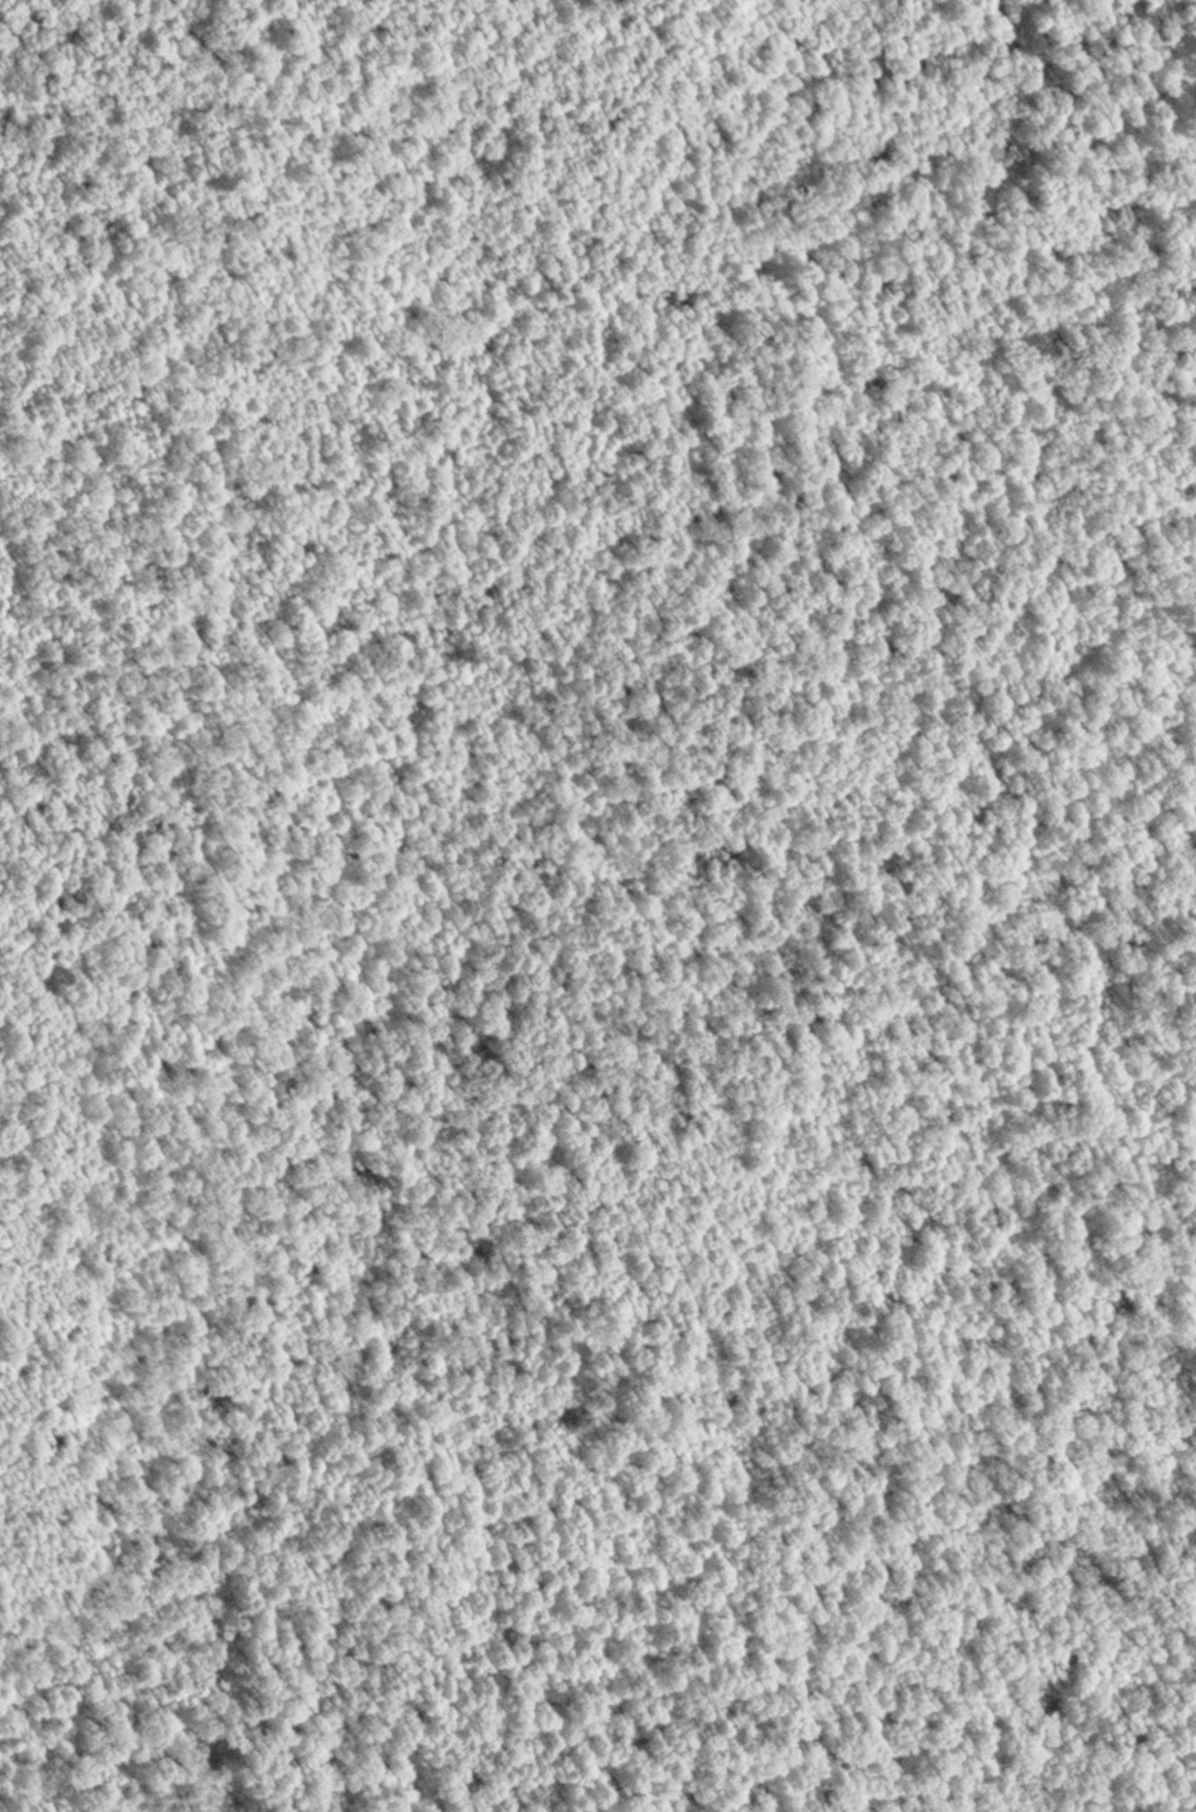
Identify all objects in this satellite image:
road: (483, 706)

